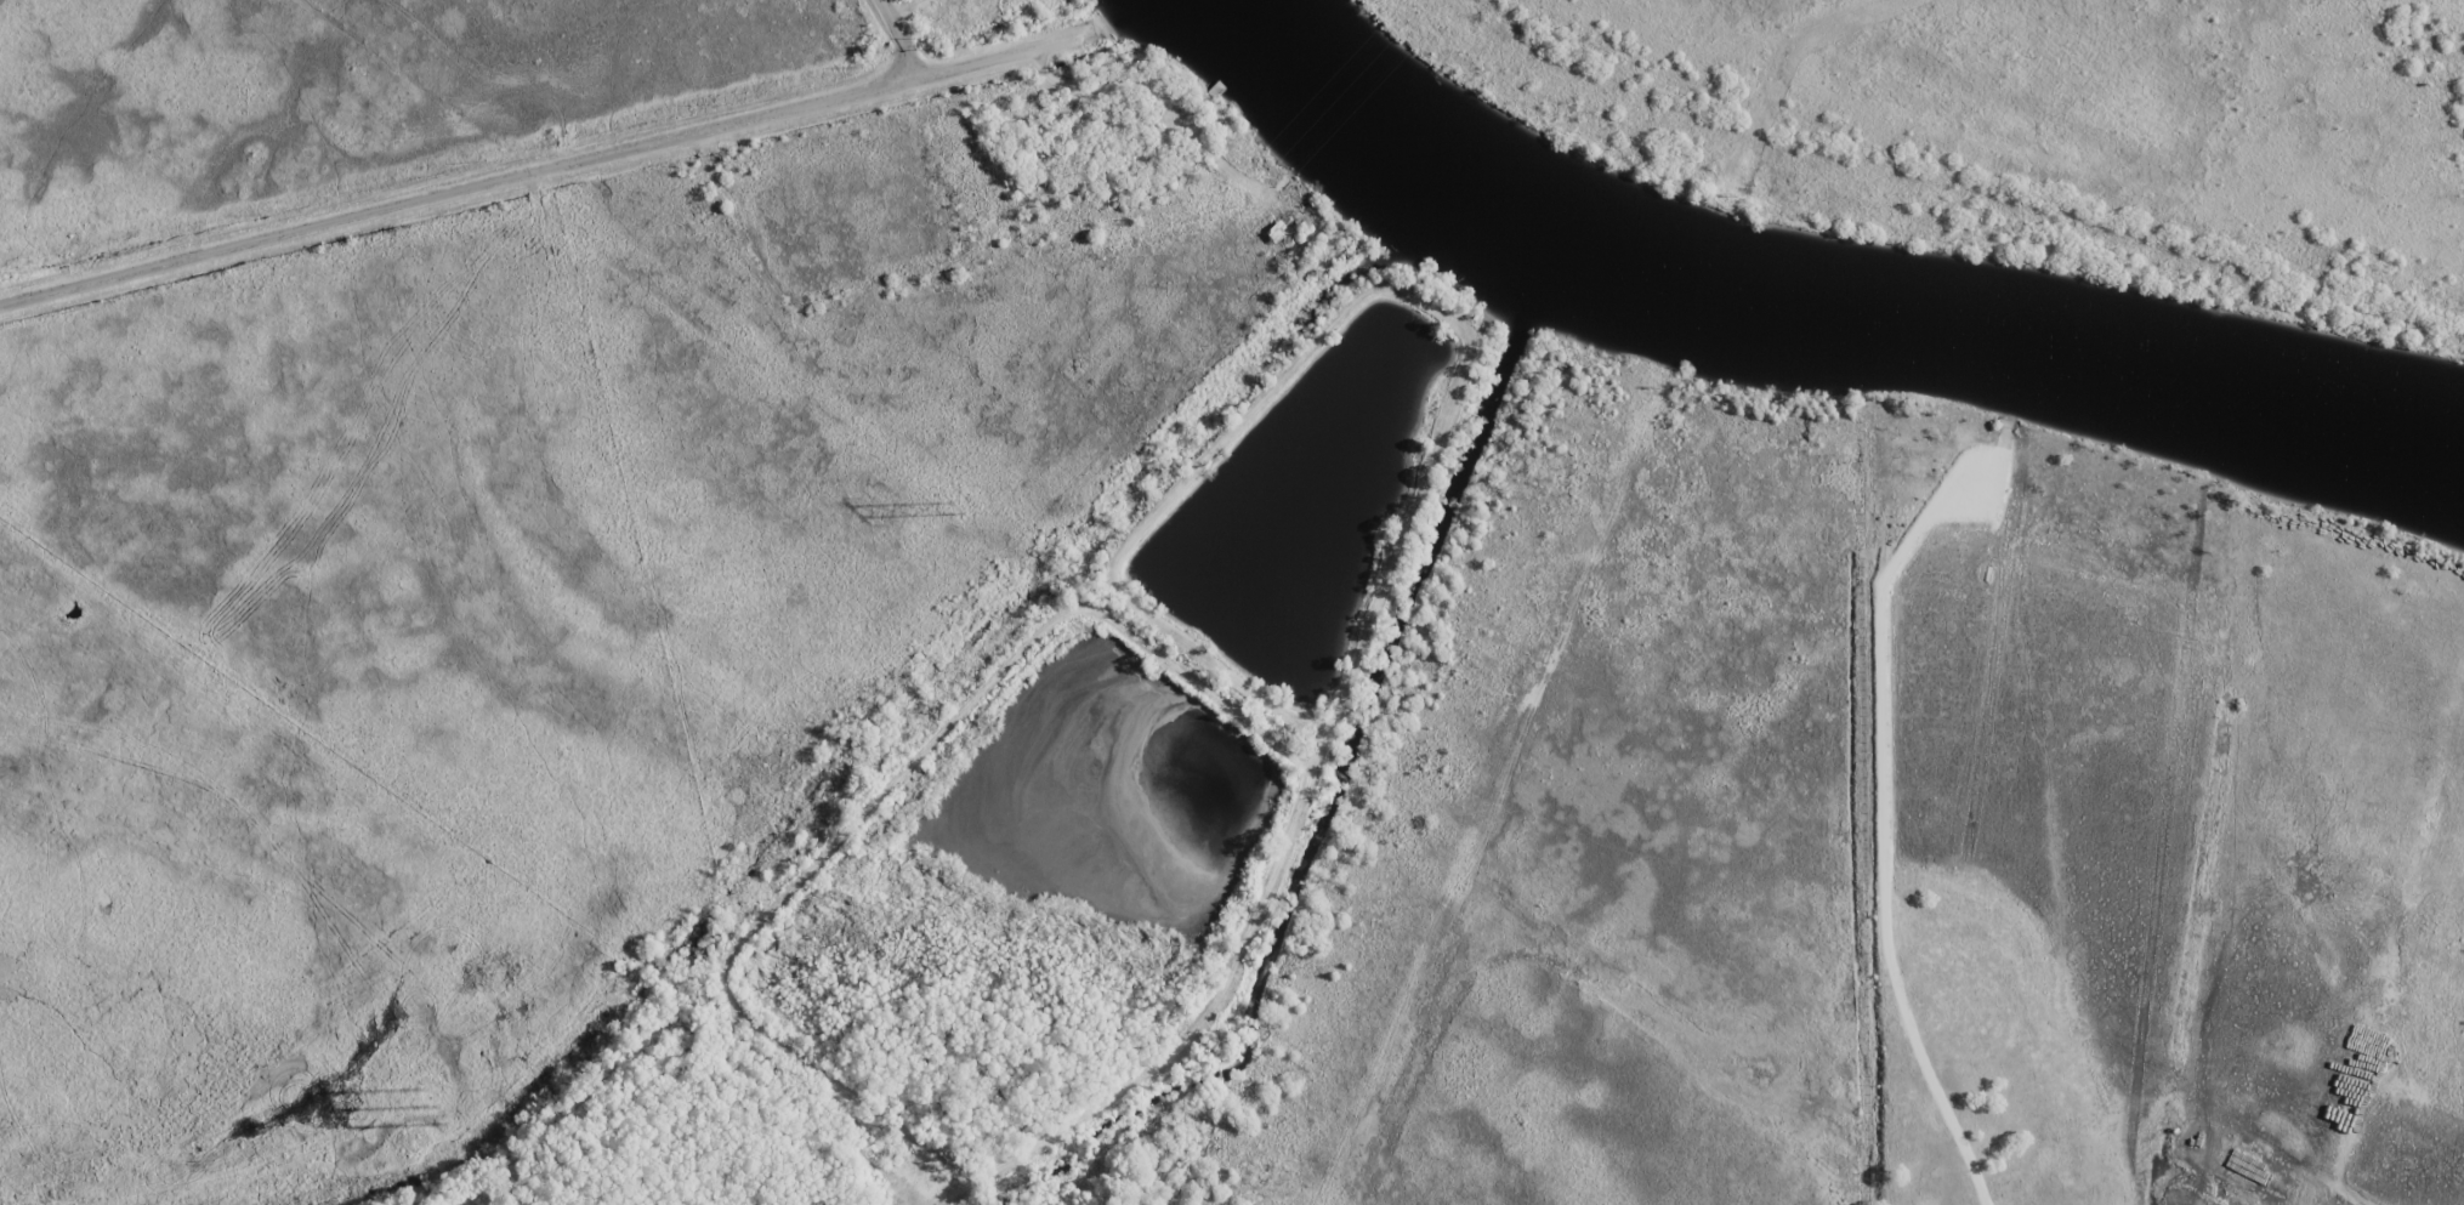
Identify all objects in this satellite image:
building: (1012, 6)
road: (896, 38)
road: (552, 165)
river: (1560, 235)
road: (1317, 337)
river: (2224, 409)
power tower: (953, 510)
road: (878, 798)
road: (1199, 1022)
power tower: (432, 1103)

